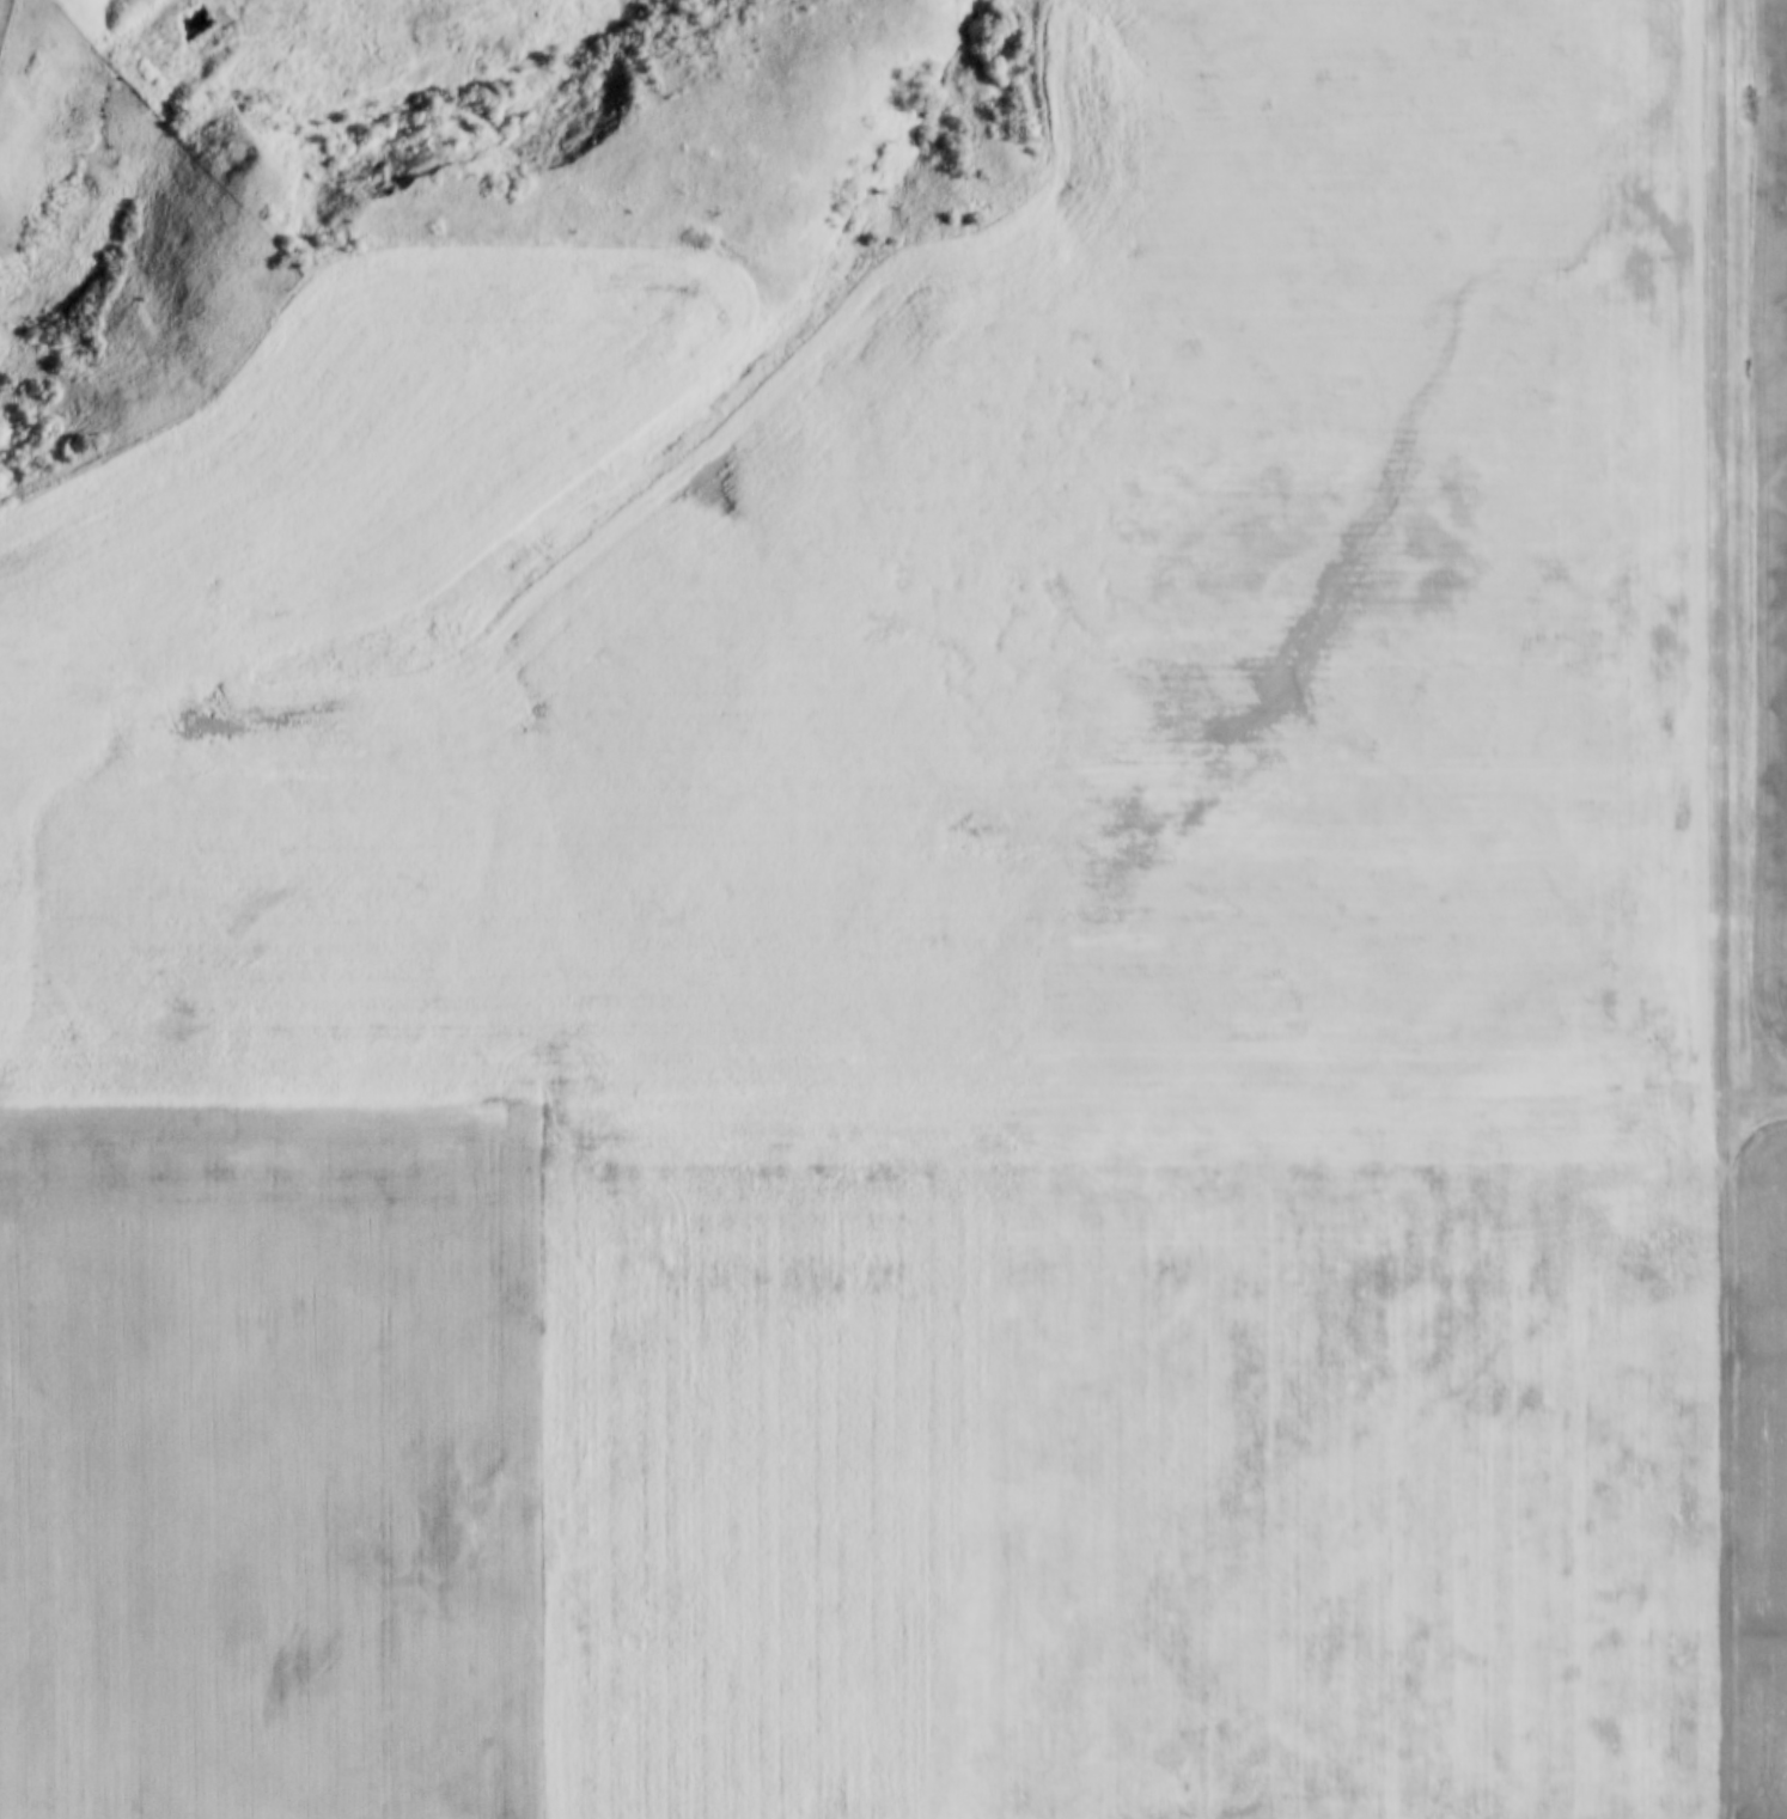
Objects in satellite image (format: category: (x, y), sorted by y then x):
road: (1732, 909)
road: (893, 1133)

